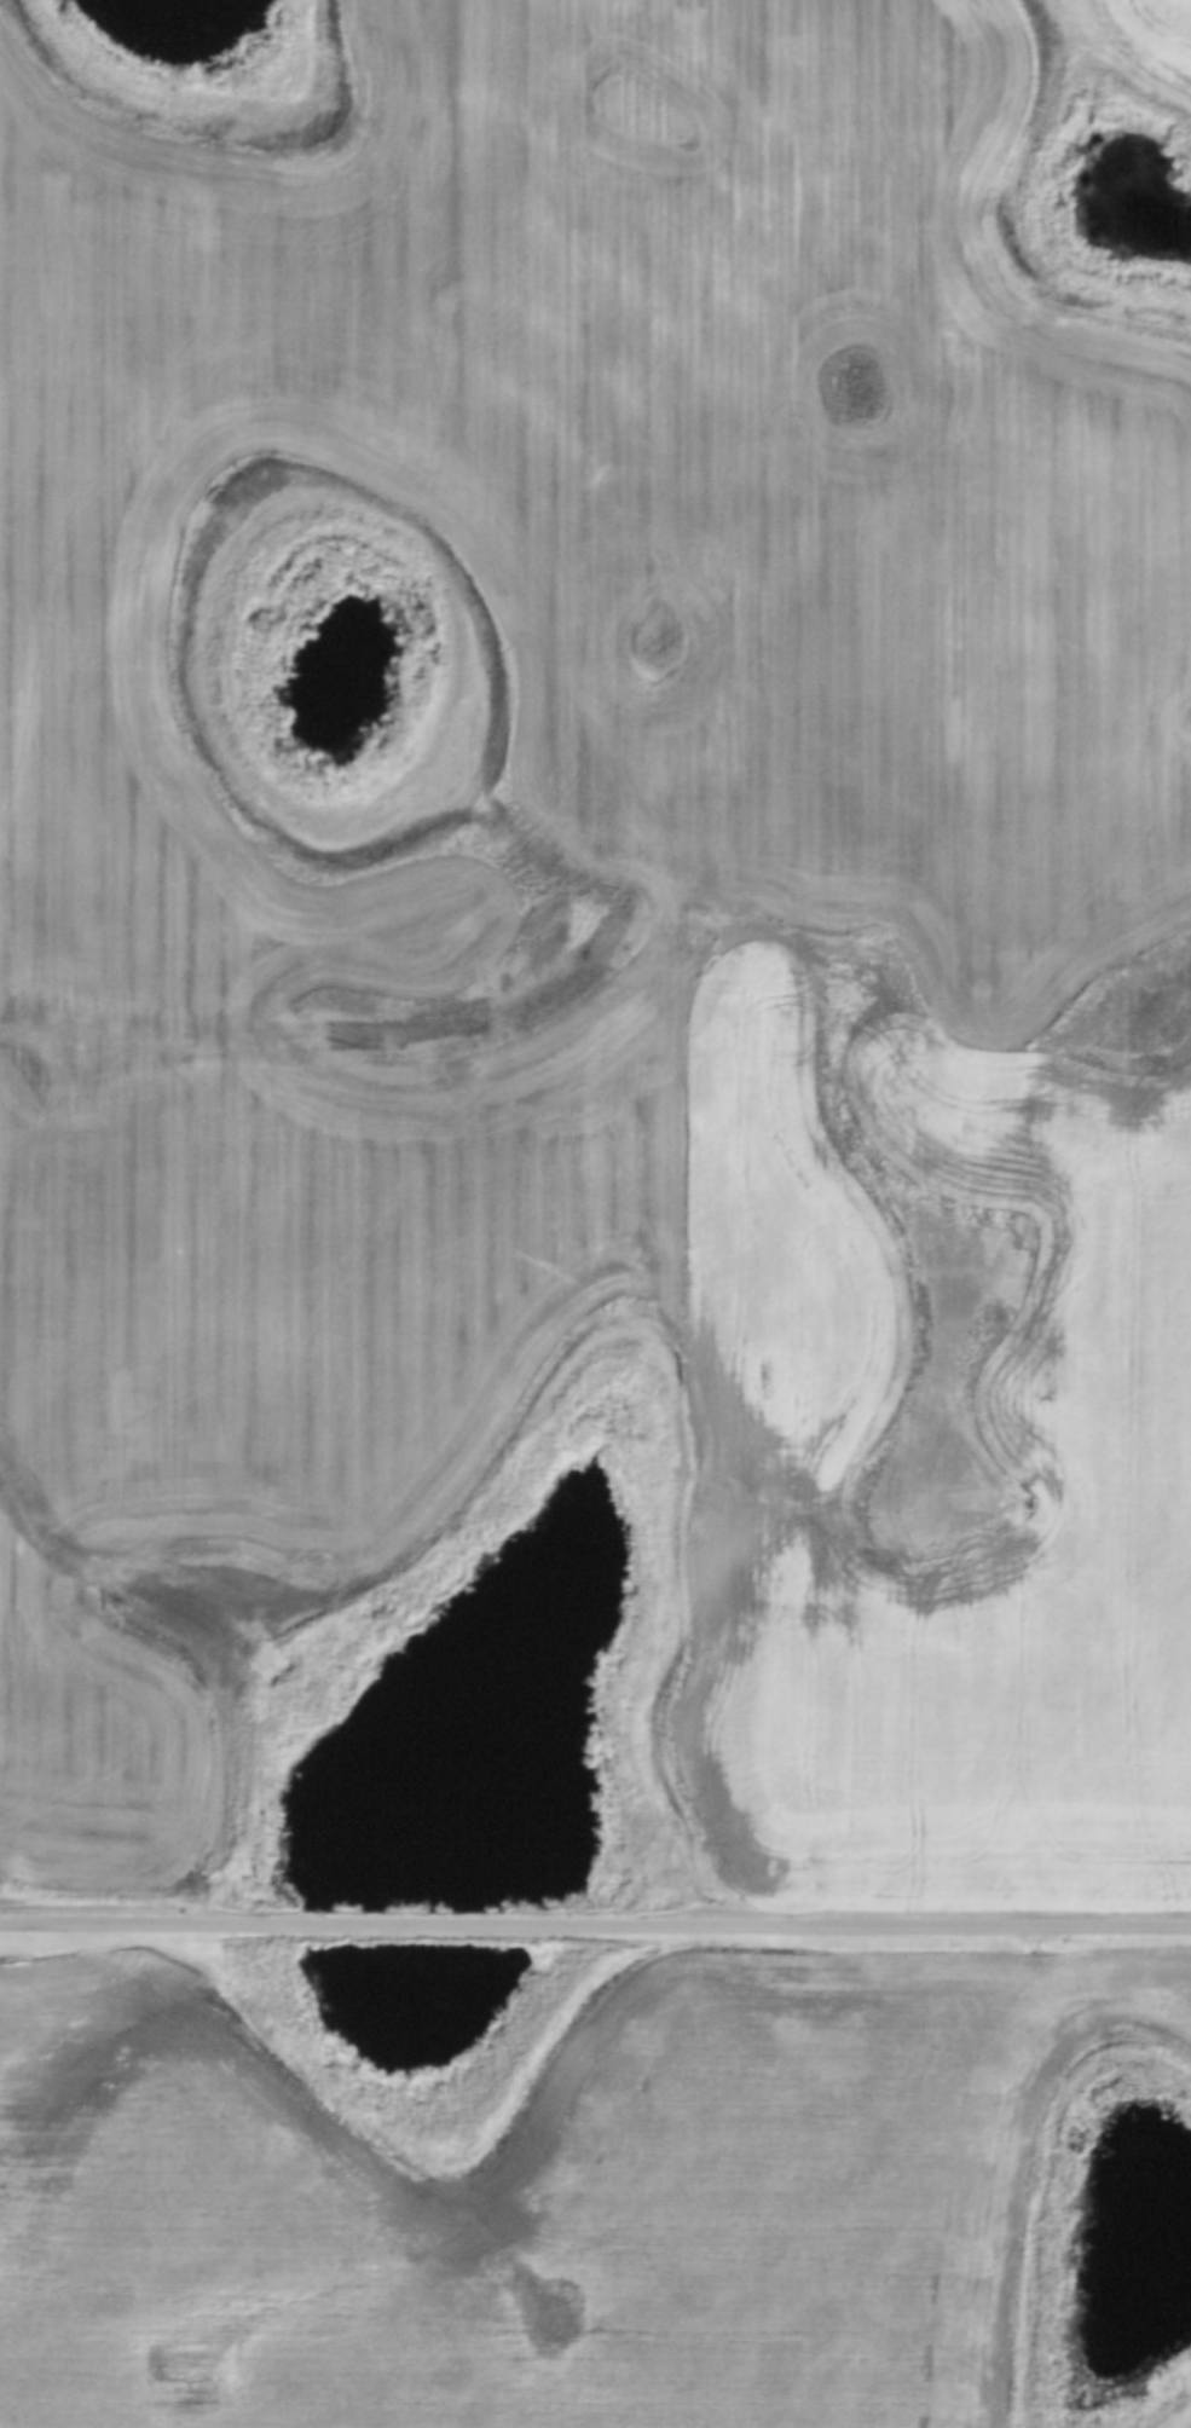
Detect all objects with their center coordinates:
road: (595, 1929)

